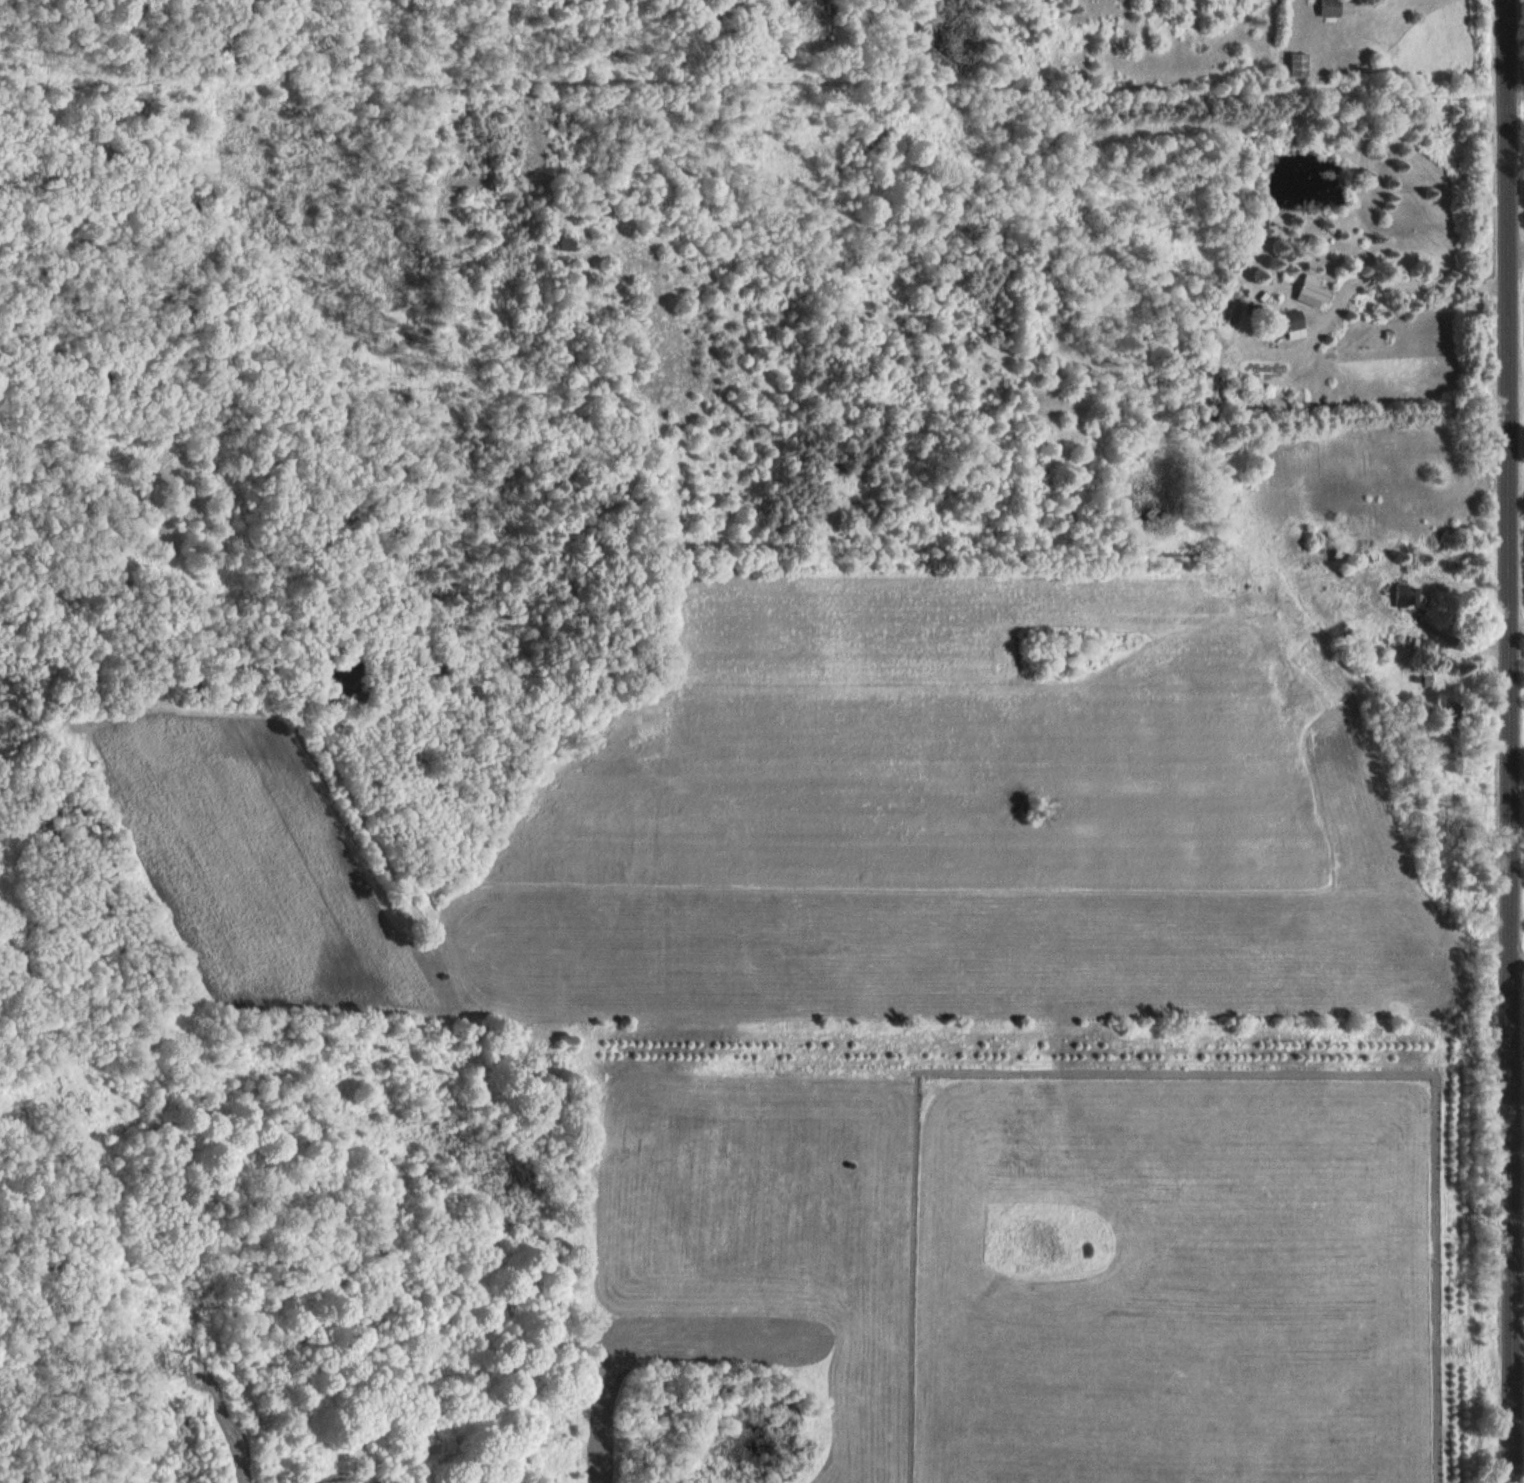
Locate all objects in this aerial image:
building: (1326, 8)
building: (1301, 62)
building: (570, 240)
road: (1515, 269)
building: (1317, 287)
building: (1295, 318)
building: (1404, 595)
building: (1426, 679)
road: (1509, 741)
road: (1517, 965)
road: (1405, 1427)

